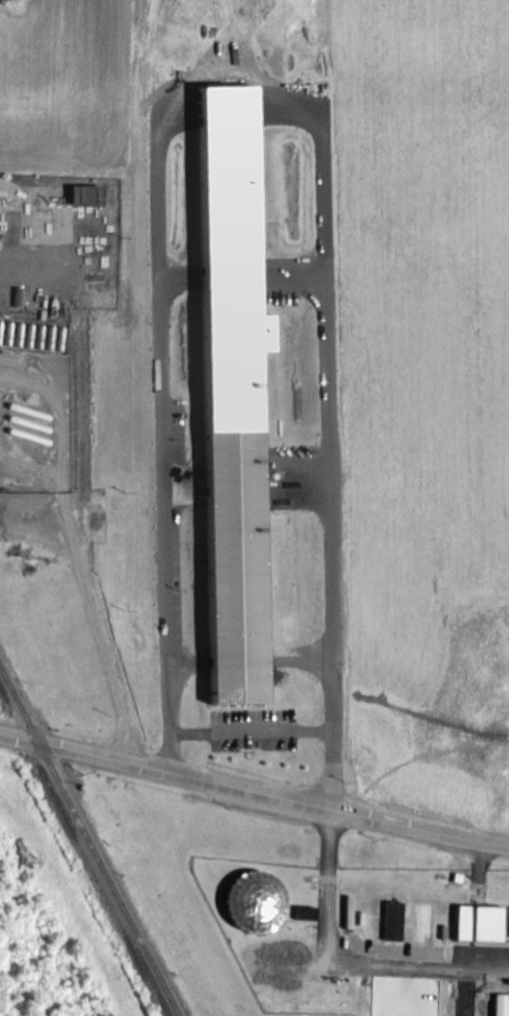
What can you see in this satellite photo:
building: (85, 194)
building: (230, 391)
road: (323, 428)
road: (156, 448)
road: (82, 576)
road: (312, 730)
road: (254, 791)
railway: (87, 841)
building: (251, 900)
storage tank: (251, 900)
building: (303, 912)
wastewater plant: (312, 919)
building: (390, 920)
building: (476, 922)
road: (345, 962)

